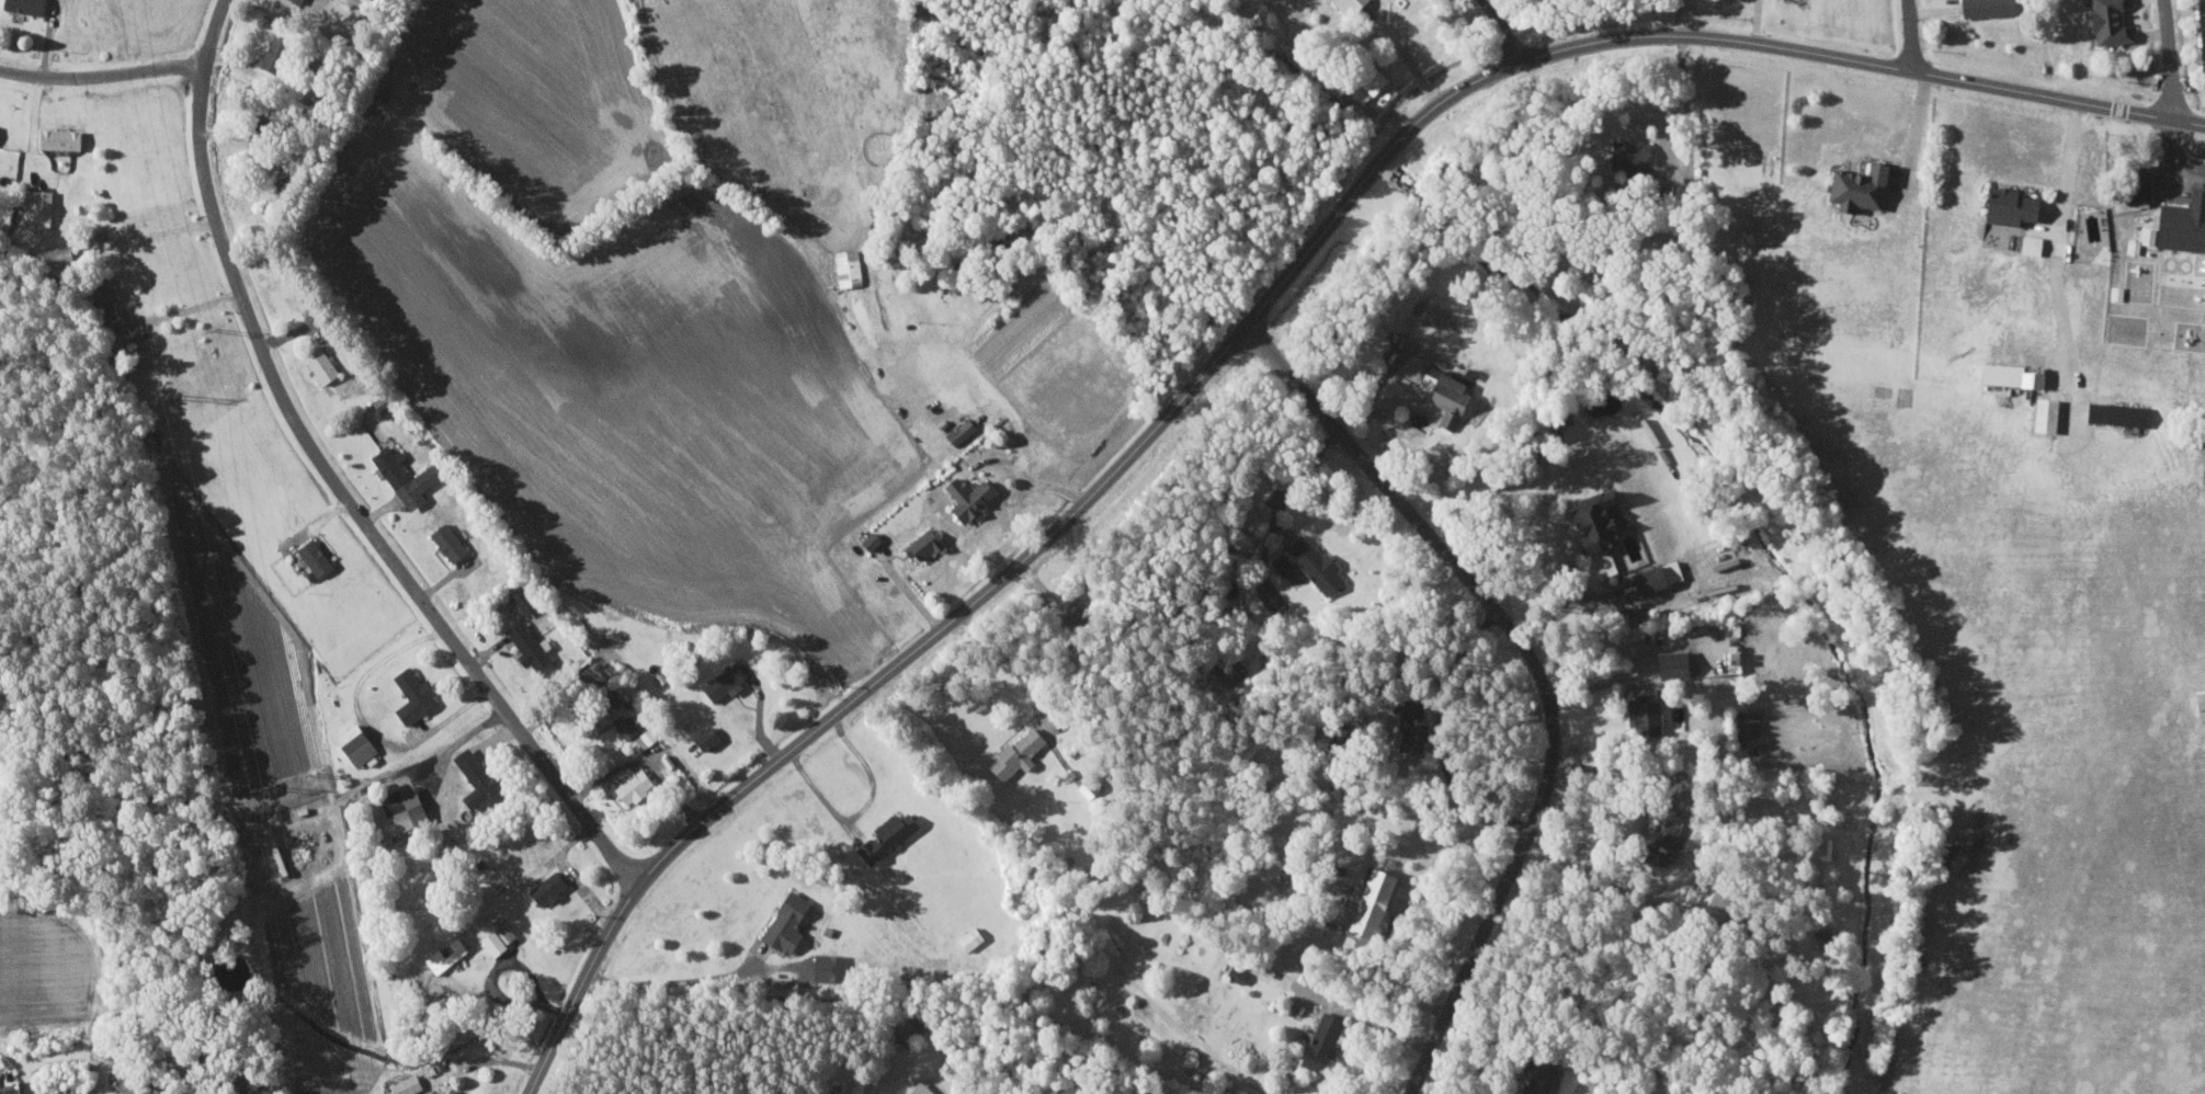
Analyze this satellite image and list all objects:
building: (303, 1)
building: (2204, 1)
building: (31, 5)
building: (1345, 5)
building: (1982, 7)
building: (2105, 23)
road: (1503, 30)
road: (1910, 35)
road: (1405, 52)
building: (280, 53)
road: (2170, 59)
road: (101, 76)
building: (1365, 80)
building: (0, 125)
road: (1916, 129)
building: (65, 138)
building: (2134, 184)
building: (1854, 187)
building: (41, 208)
building: (2178, 225)
building: (2028, 244)
building: (107, 304)
road: (1250, 317)
power tower: (215, 330)
building: (328, 365)
building: (2005, 375)
building: (1451, 394)
power tower: (177, 396)
building: (386, 404)
building: (2112, 414)
building: (2041, 415)
building: (965, 430)
building: (410, 476)
road: (328, 478)
building: (975, 497)
building: (1589, 517)
building: (876, 539)
building: (453, 542)
building: (928, 544)
building: (319, 556)
building: (1314, 562)
building: (1656, 574)
building: (526, 600)
building: (533, 645)
building: (1670, 663)
road: (1539, 671)
building: (727, 681)
building: (417, 694)
building: (2198, 702)
building: (1639, 709)
building: (1747, 722)
building: (1409, 723)
building: (629, 726)
building: (712, 738)
building: (644, 739)
building: (360, 743)
building: (1023, 752)
power tower: (316, 772)
building: (484, 779)
building: (637, 784)
power tower: (270, 786)
building: (404, 811)
building: (1658, 834)
building: (891, 836)
building: (553, 886)
building: (1365, 901)
building: (792, 921)
building: (502, 937)
building: (448, 953)
building: (1316, 1039)
building: (1535, 1074)
building: (411, 1084)
building: (143, 1086)
building: (458, 1091)
building: (442, 1093)

